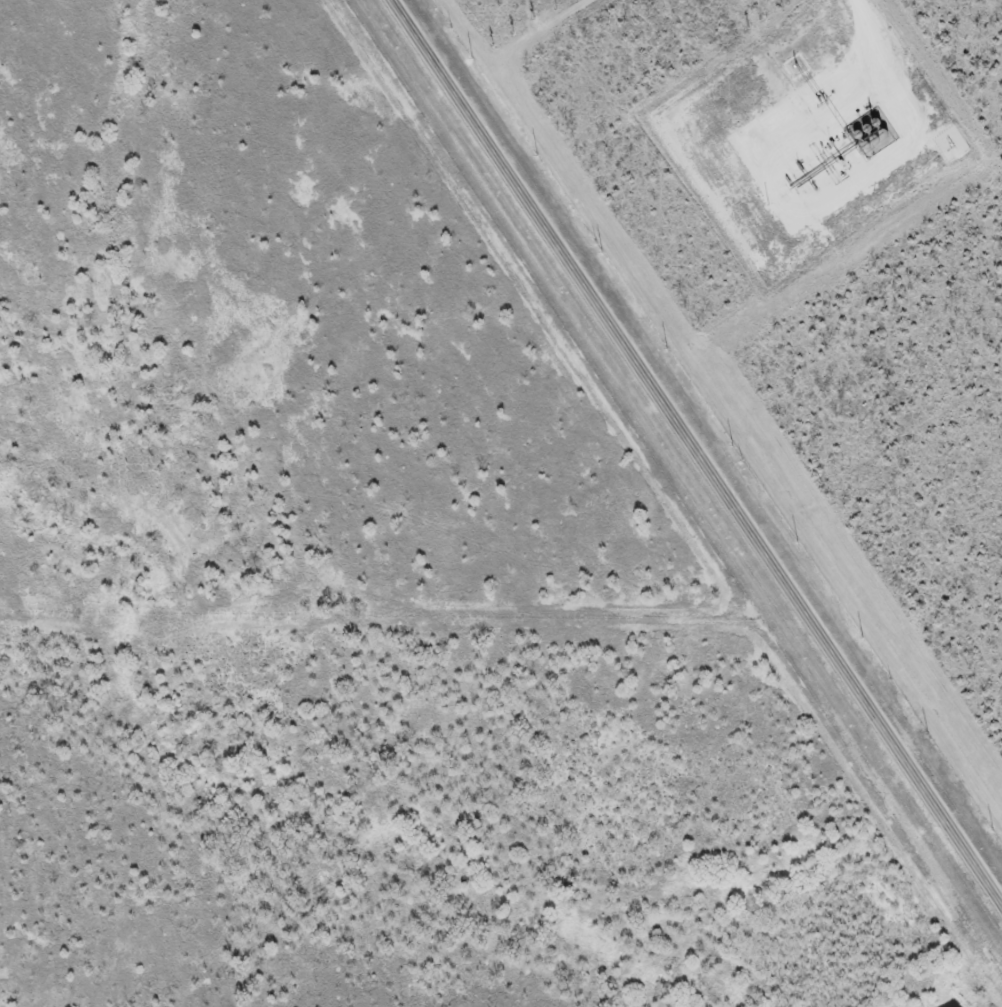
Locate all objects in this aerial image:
road: (849, 94)
road: (697, 449)

